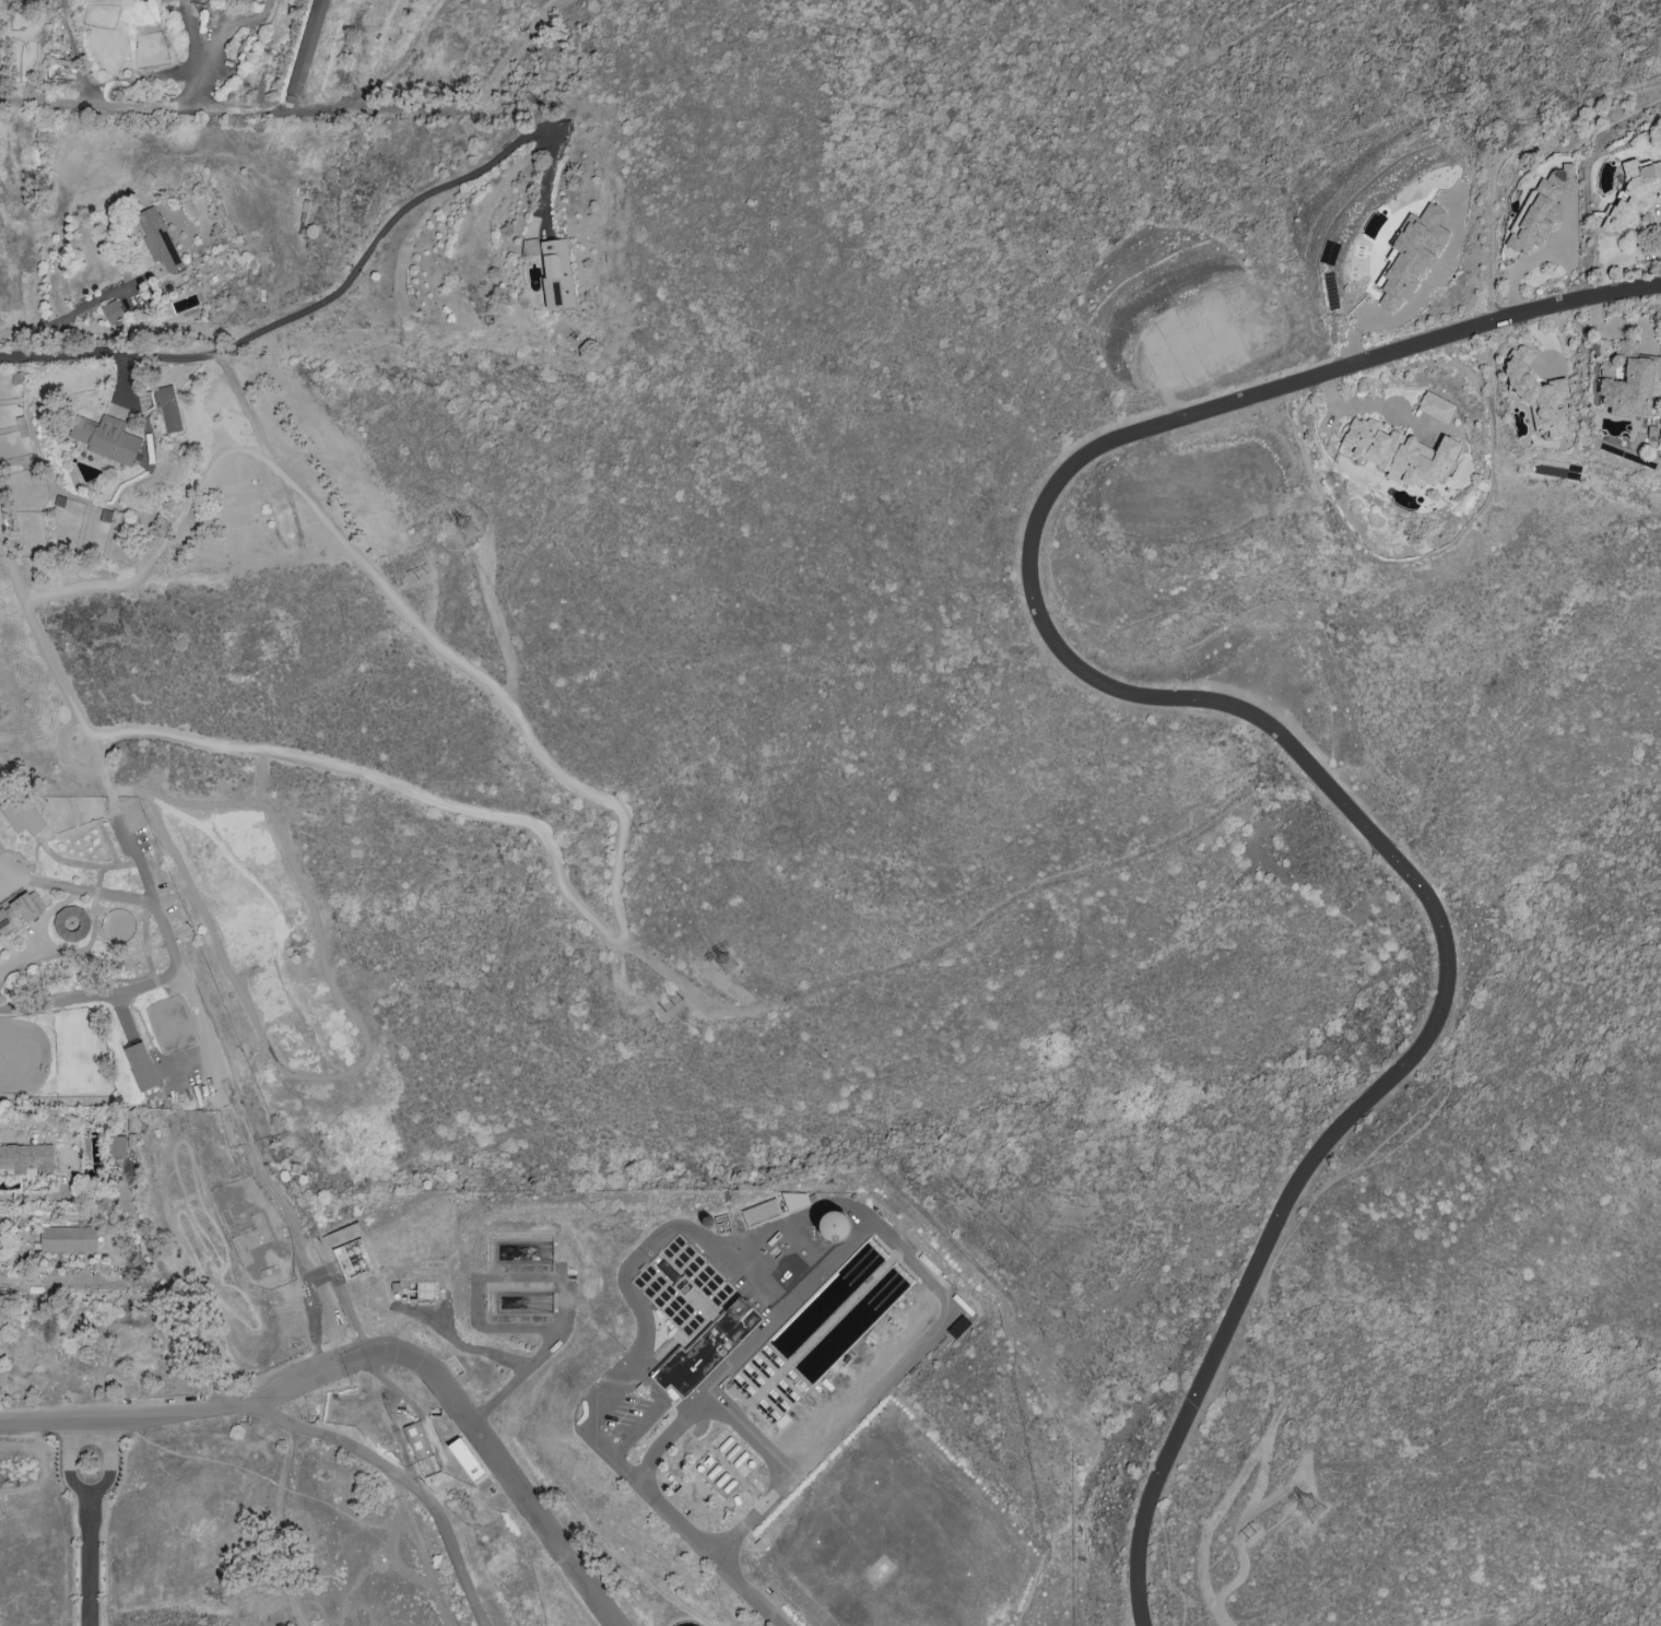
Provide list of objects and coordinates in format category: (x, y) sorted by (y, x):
building: (243, 0)
building: (303, 60)
road: (133, 103)
power tower: (153, 120)
building: (1634, 193)
building: (1542, 208)
road: (396, 214)
building: (158, 233)
building: (1411, 256)
building: (556, 273)
building: (111, 311)
road: (72, 314)
road: (86, 354)
road: (121, 380)
building: (1628, 380)
building: (1536, 393)
building: (1435, 406)
building: (168, 409)
building: (105, 438)
building: (1399, 452)
power tower: (467, 541)
power tower: (422, 579)
road: (1158, 695)
road: (63, 758)
road: (589, 791)
building: (21, 814)
building: (0, 851)
building: (20, 910)
road: (172, 940)
power tower: (747, 981)
road: (59, 1002)
power tower: (670, 1005)
road: (134, 1034)
building: (141, 1065)
building: (117, 1146)
building: (26, 1158)
building: (793, 1200)
road: (824, 1204)
building: (761, 1213)
building: (832, 1226)
building: (68, 1238)
building: (352, 1259)
road: (755, 1274)
road: (140, 1277)
road: (182, 1301)
road: (786, 1304)
building: (957, 1327)
building: (707, 1346)
road: (707, 1391)
road: (462, 1412)
road: (650, 1412)
road: (91, 1418)
building: (416, 1439)
road: (1262, 1444)
road: (377, 1459)
building: (467, 1459)
road: (70, 1460)
road: (109, 1461)
road: (1152, 1506)
power tower: (1312, 1513)
road: (276, 1527)
power tower: (1252, 1536)
road: (422, 1541)
road: (90, 1560)
road: (718, 1562)
road: (1221, 1613)
road: (1458, 1623)

